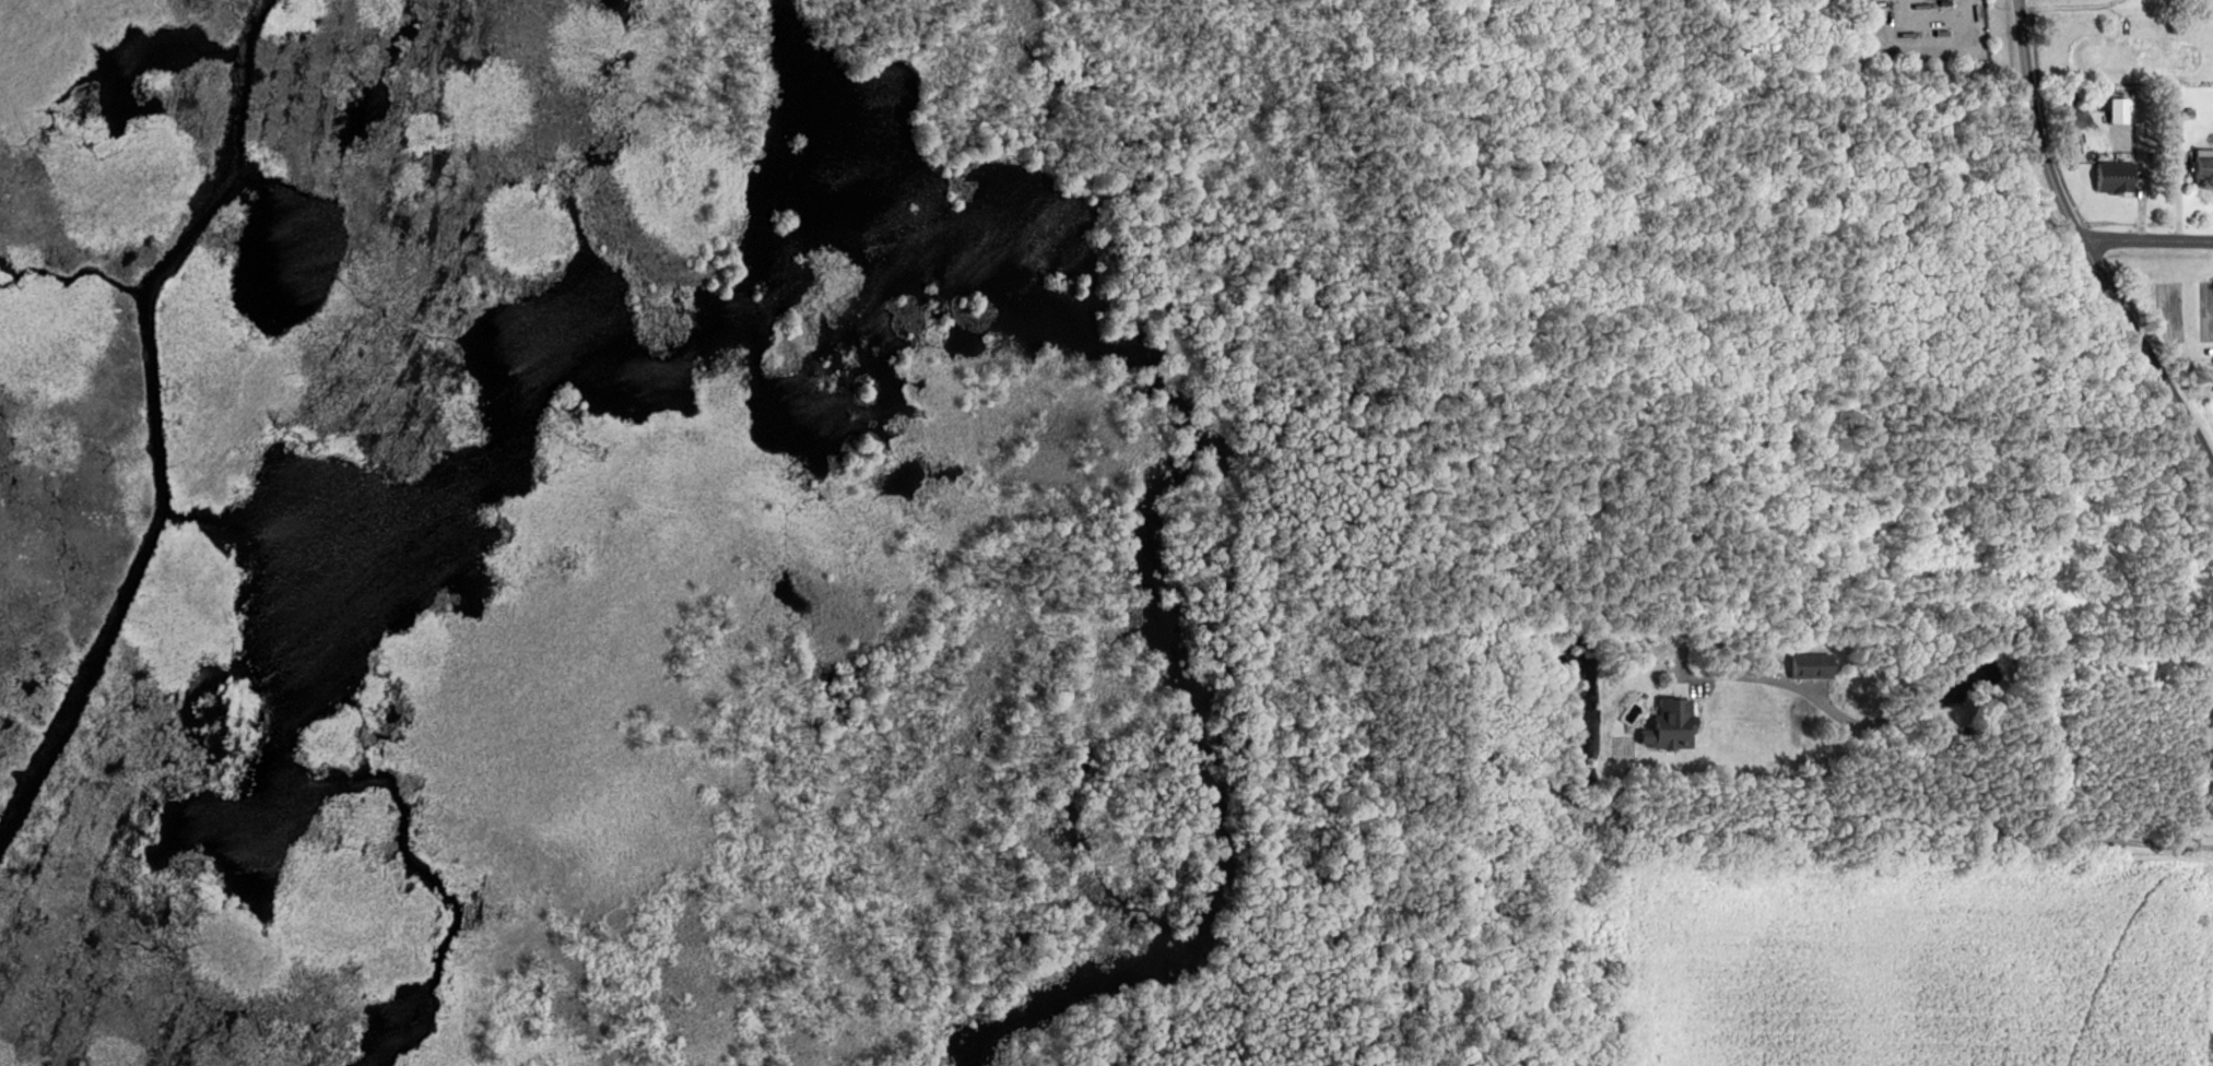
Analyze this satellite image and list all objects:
building: (1946, 2)
road: (2067, 4)
road: (1930, 20)
road: (1932, 49)
building: (2099, 103)
building: (2122, 108)
building: (2189, 111)
building: (2205, 165)
building: (2117, 176)
road: (2177, 190)
road: (2142, 191)
road: (2146, 239)
road: (2083, 245)
building: (1813, 665)
building: (1673, 724)
road: (1958, 756)

